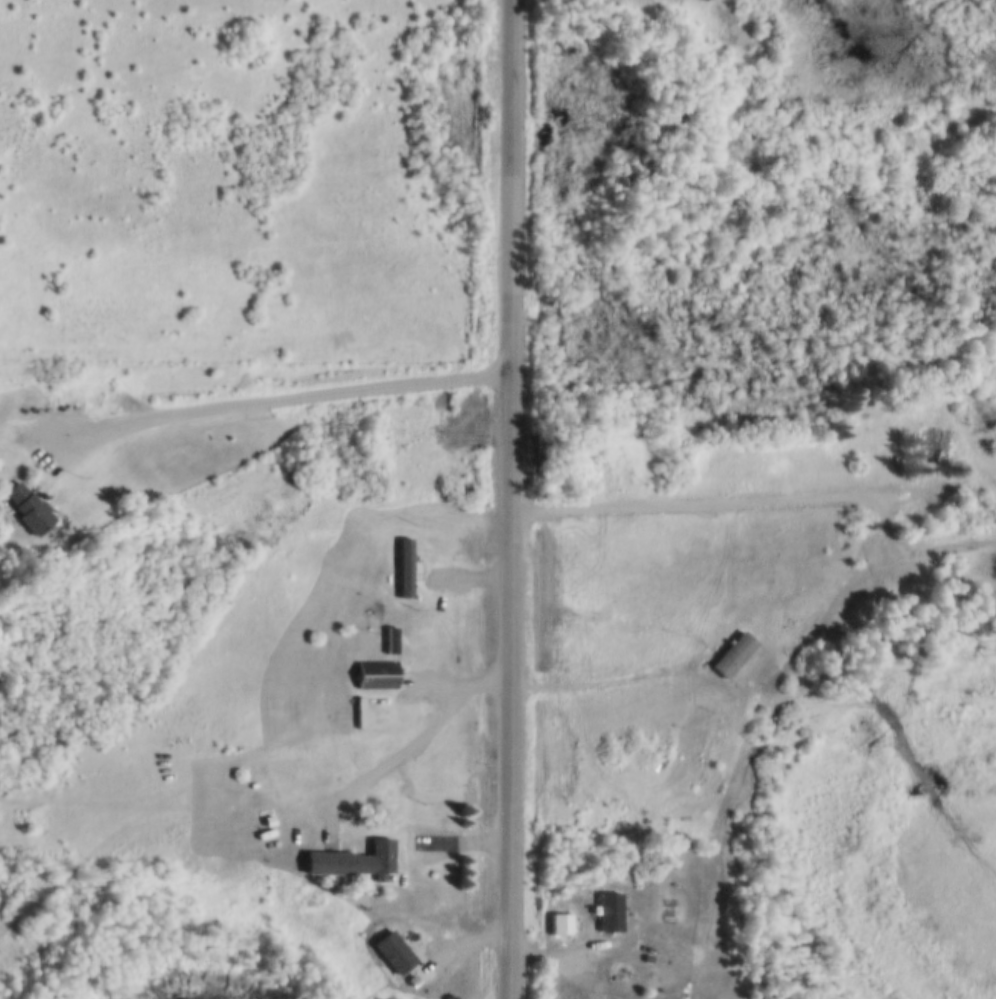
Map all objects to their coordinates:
building: (701, 0)
building: (671, 1)
road: (280, 398)
building: (867, 411)
building: (936, 442)
road: (515, 499)
road: (727, 505)
building: (26, 511)
road: (919, 552)
building: (408, 566)
building: (733, 651)
building: (377, 673)
road: (404, 751)
road: (158, 838)
building: (373, 856)
building: (609, 909)
building: (559, 921)
building: (392, 950)
building: (648, 956)
building: (411, 977)

